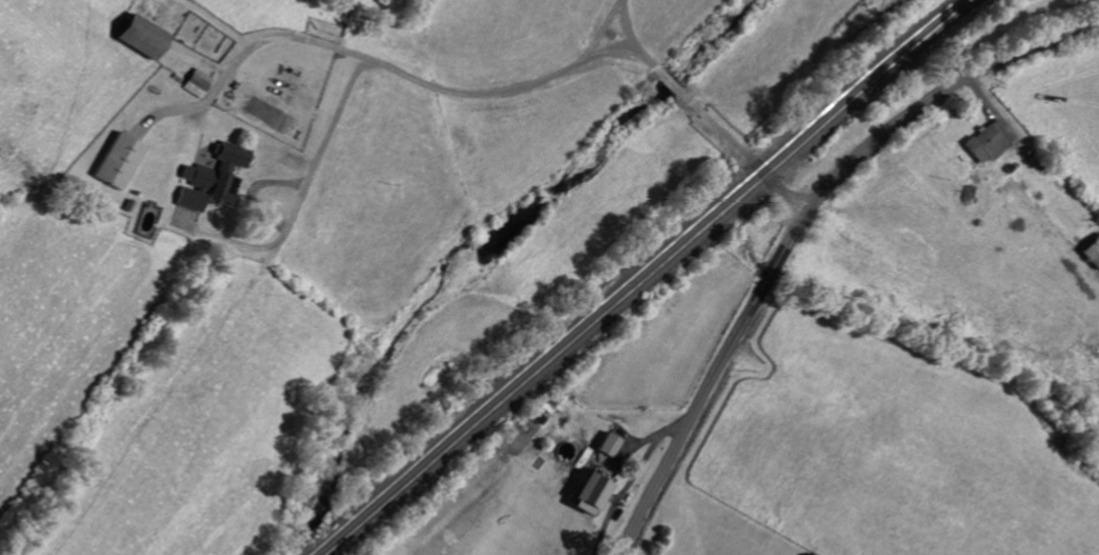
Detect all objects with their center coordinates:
road: (626, 24)
building: (148, 30)
building: (199, 84)
road: (522, 86)
building: (1005, 131)
building: (987, 146)
building: (121, 161)
building: (213, 179)
road: (303, 193)
road: (795, 226)
railway: (632, 277)
railway: (654, 281)
building: (612, 445)
building: (596, 495)

